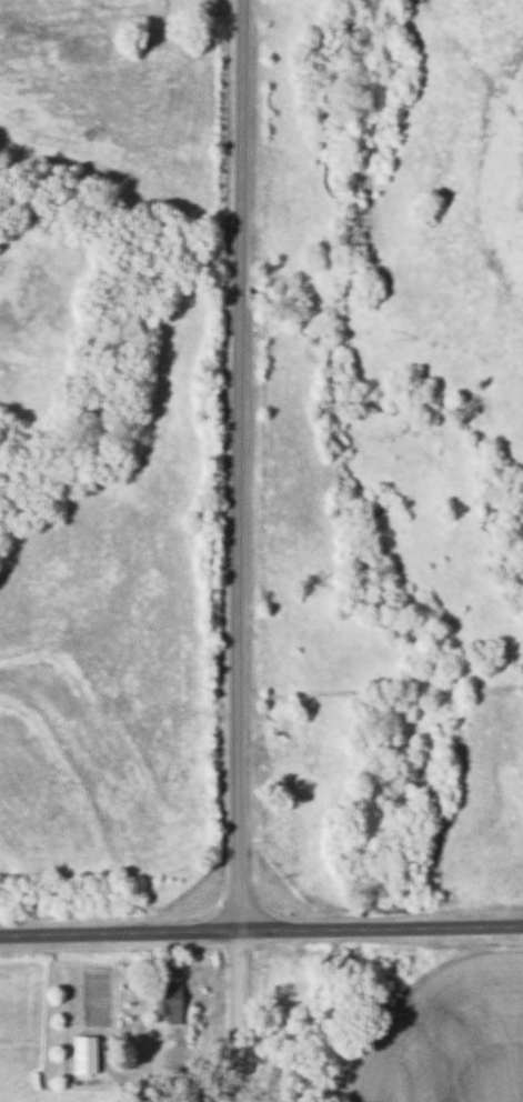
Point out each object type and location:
road: (242, 462)
road: (261, 926)
building: (167, 1002)
road: (240, 1013)
road: (138, 1091)

